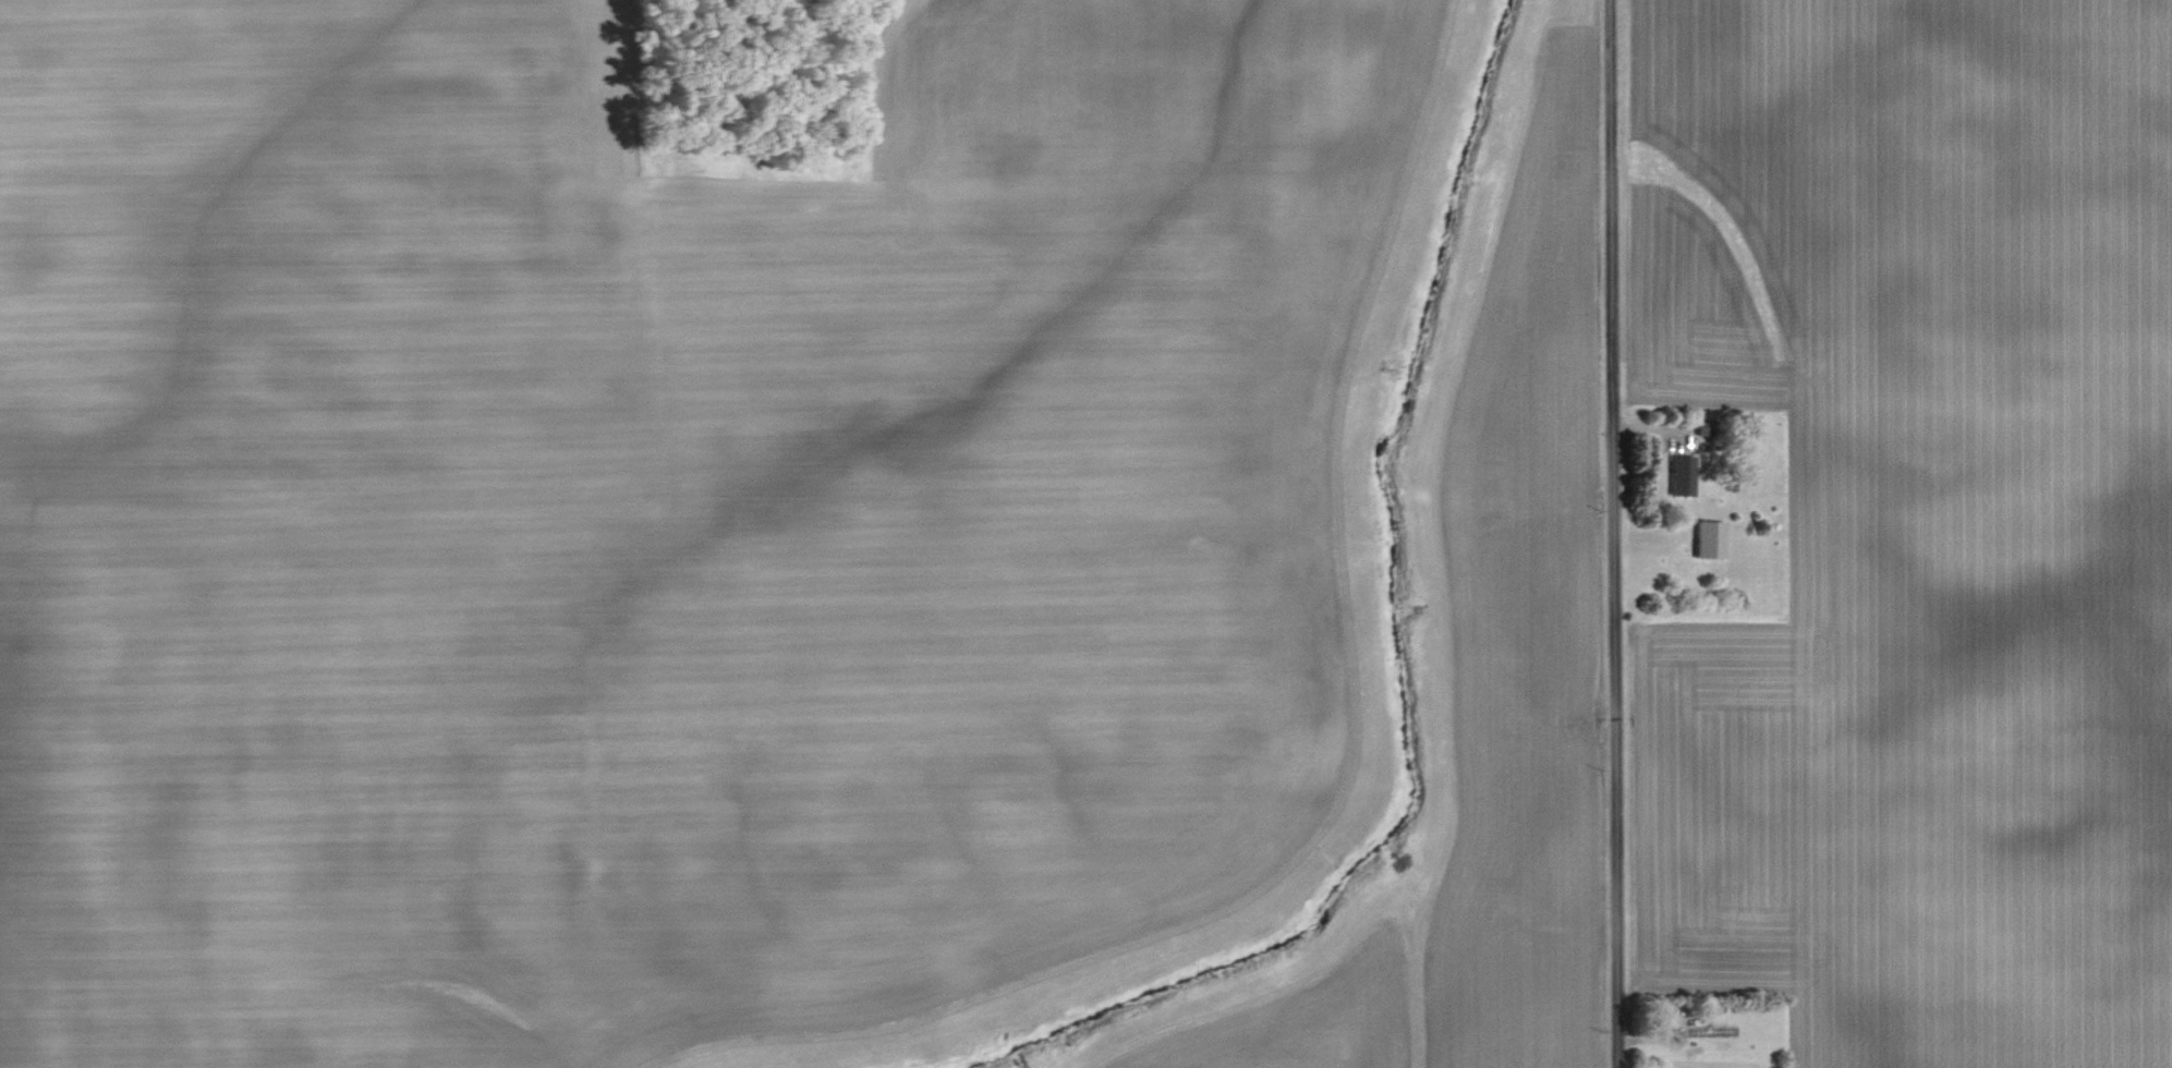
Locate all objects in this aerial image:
building: (1706, 427)
building: (1683, 476)
road: (1615, 533)

